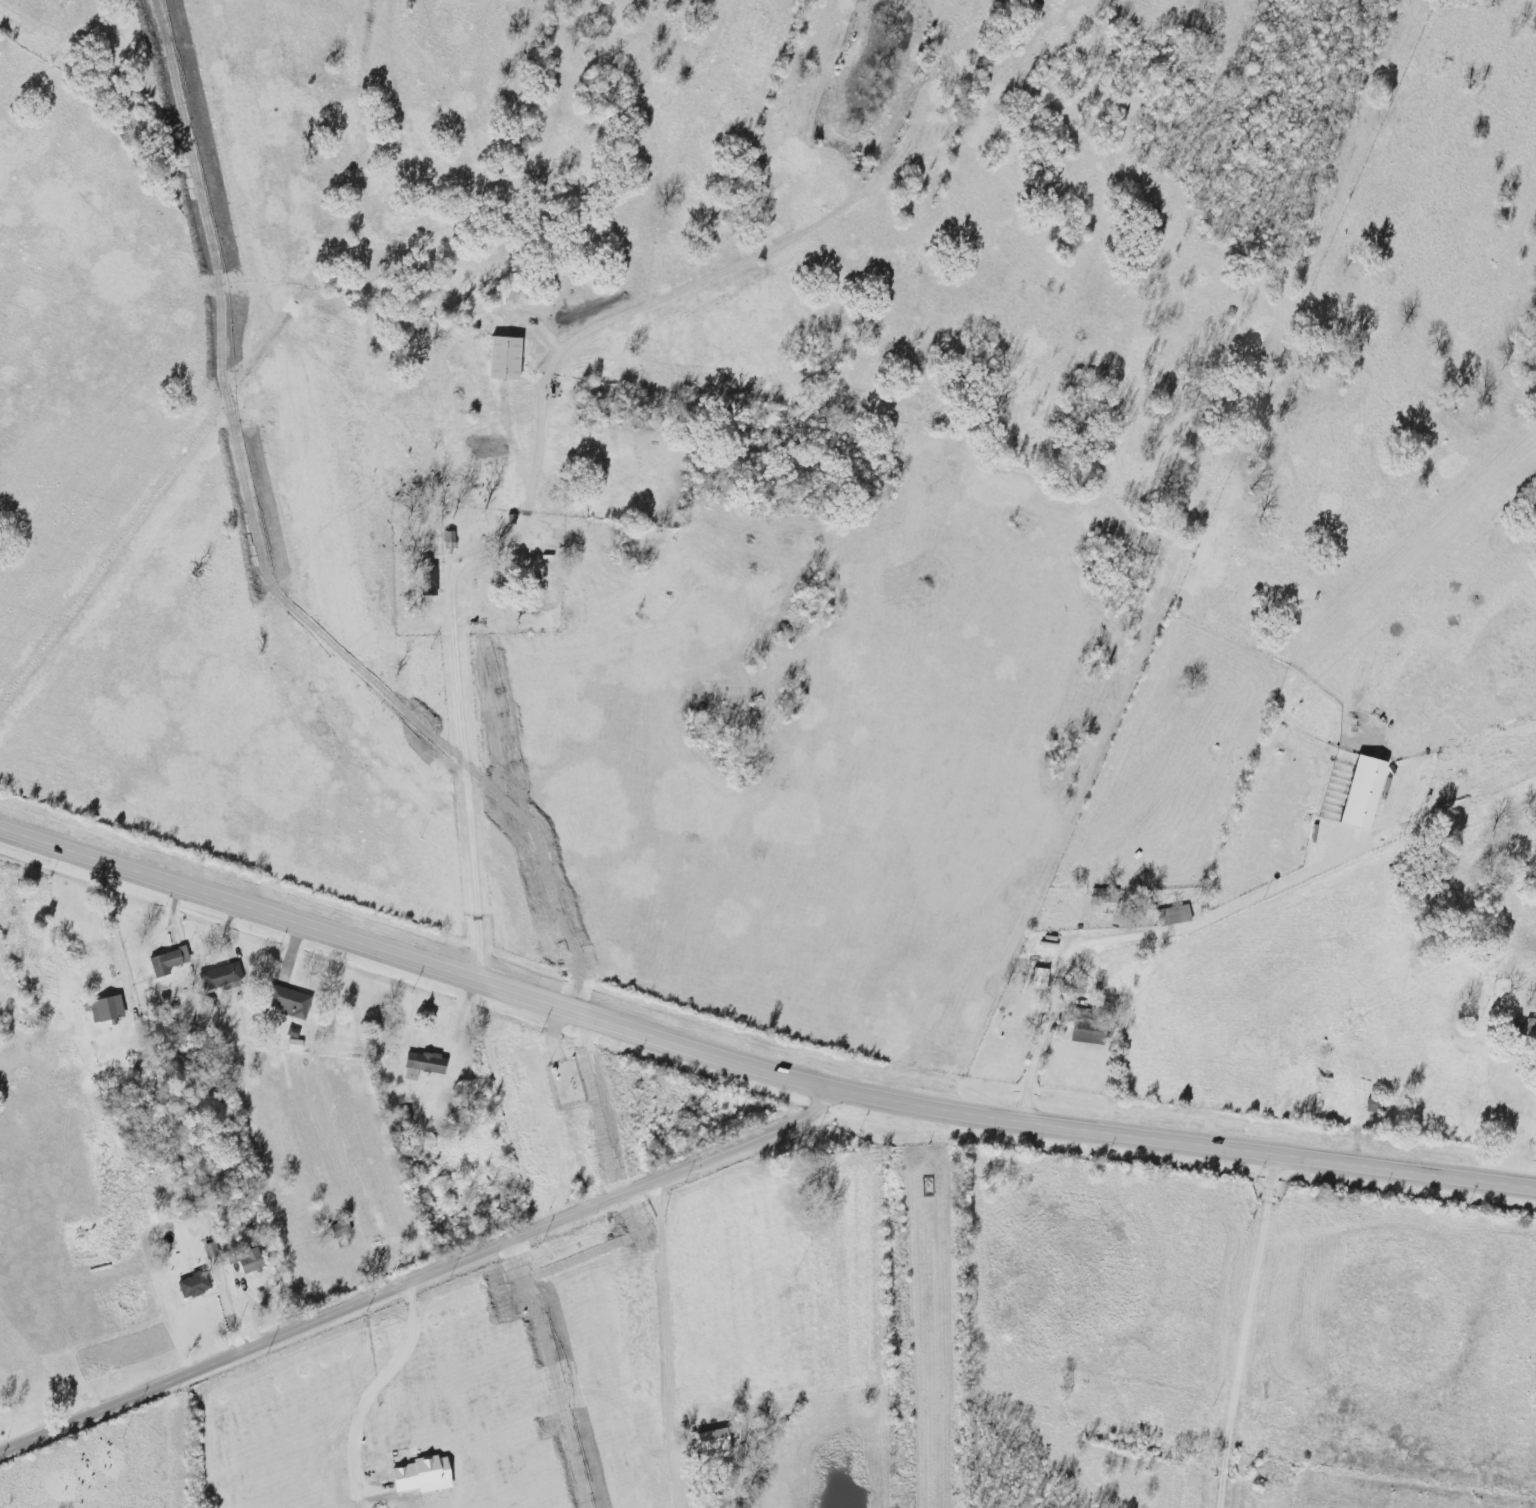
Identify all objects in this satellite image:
building: (505, 358)
road: (538, 452)
road: (153, 507)
road: (470, 779)
building: (1364, 791)
building: (1176, 914)
building: (168, 960)
building: (221, 975)
building: (293, 1002)
building: (108, 1008)
building: (1531, 1026)
building: (1088, 1029)
building: (423, 1064)
road: (755, 1066)
road: (1032, 1071)
building: (250, 1260)
road: (424, 1281)
building: (193, 1284)
road: (228, 1308)
road: (1249, 1333)

